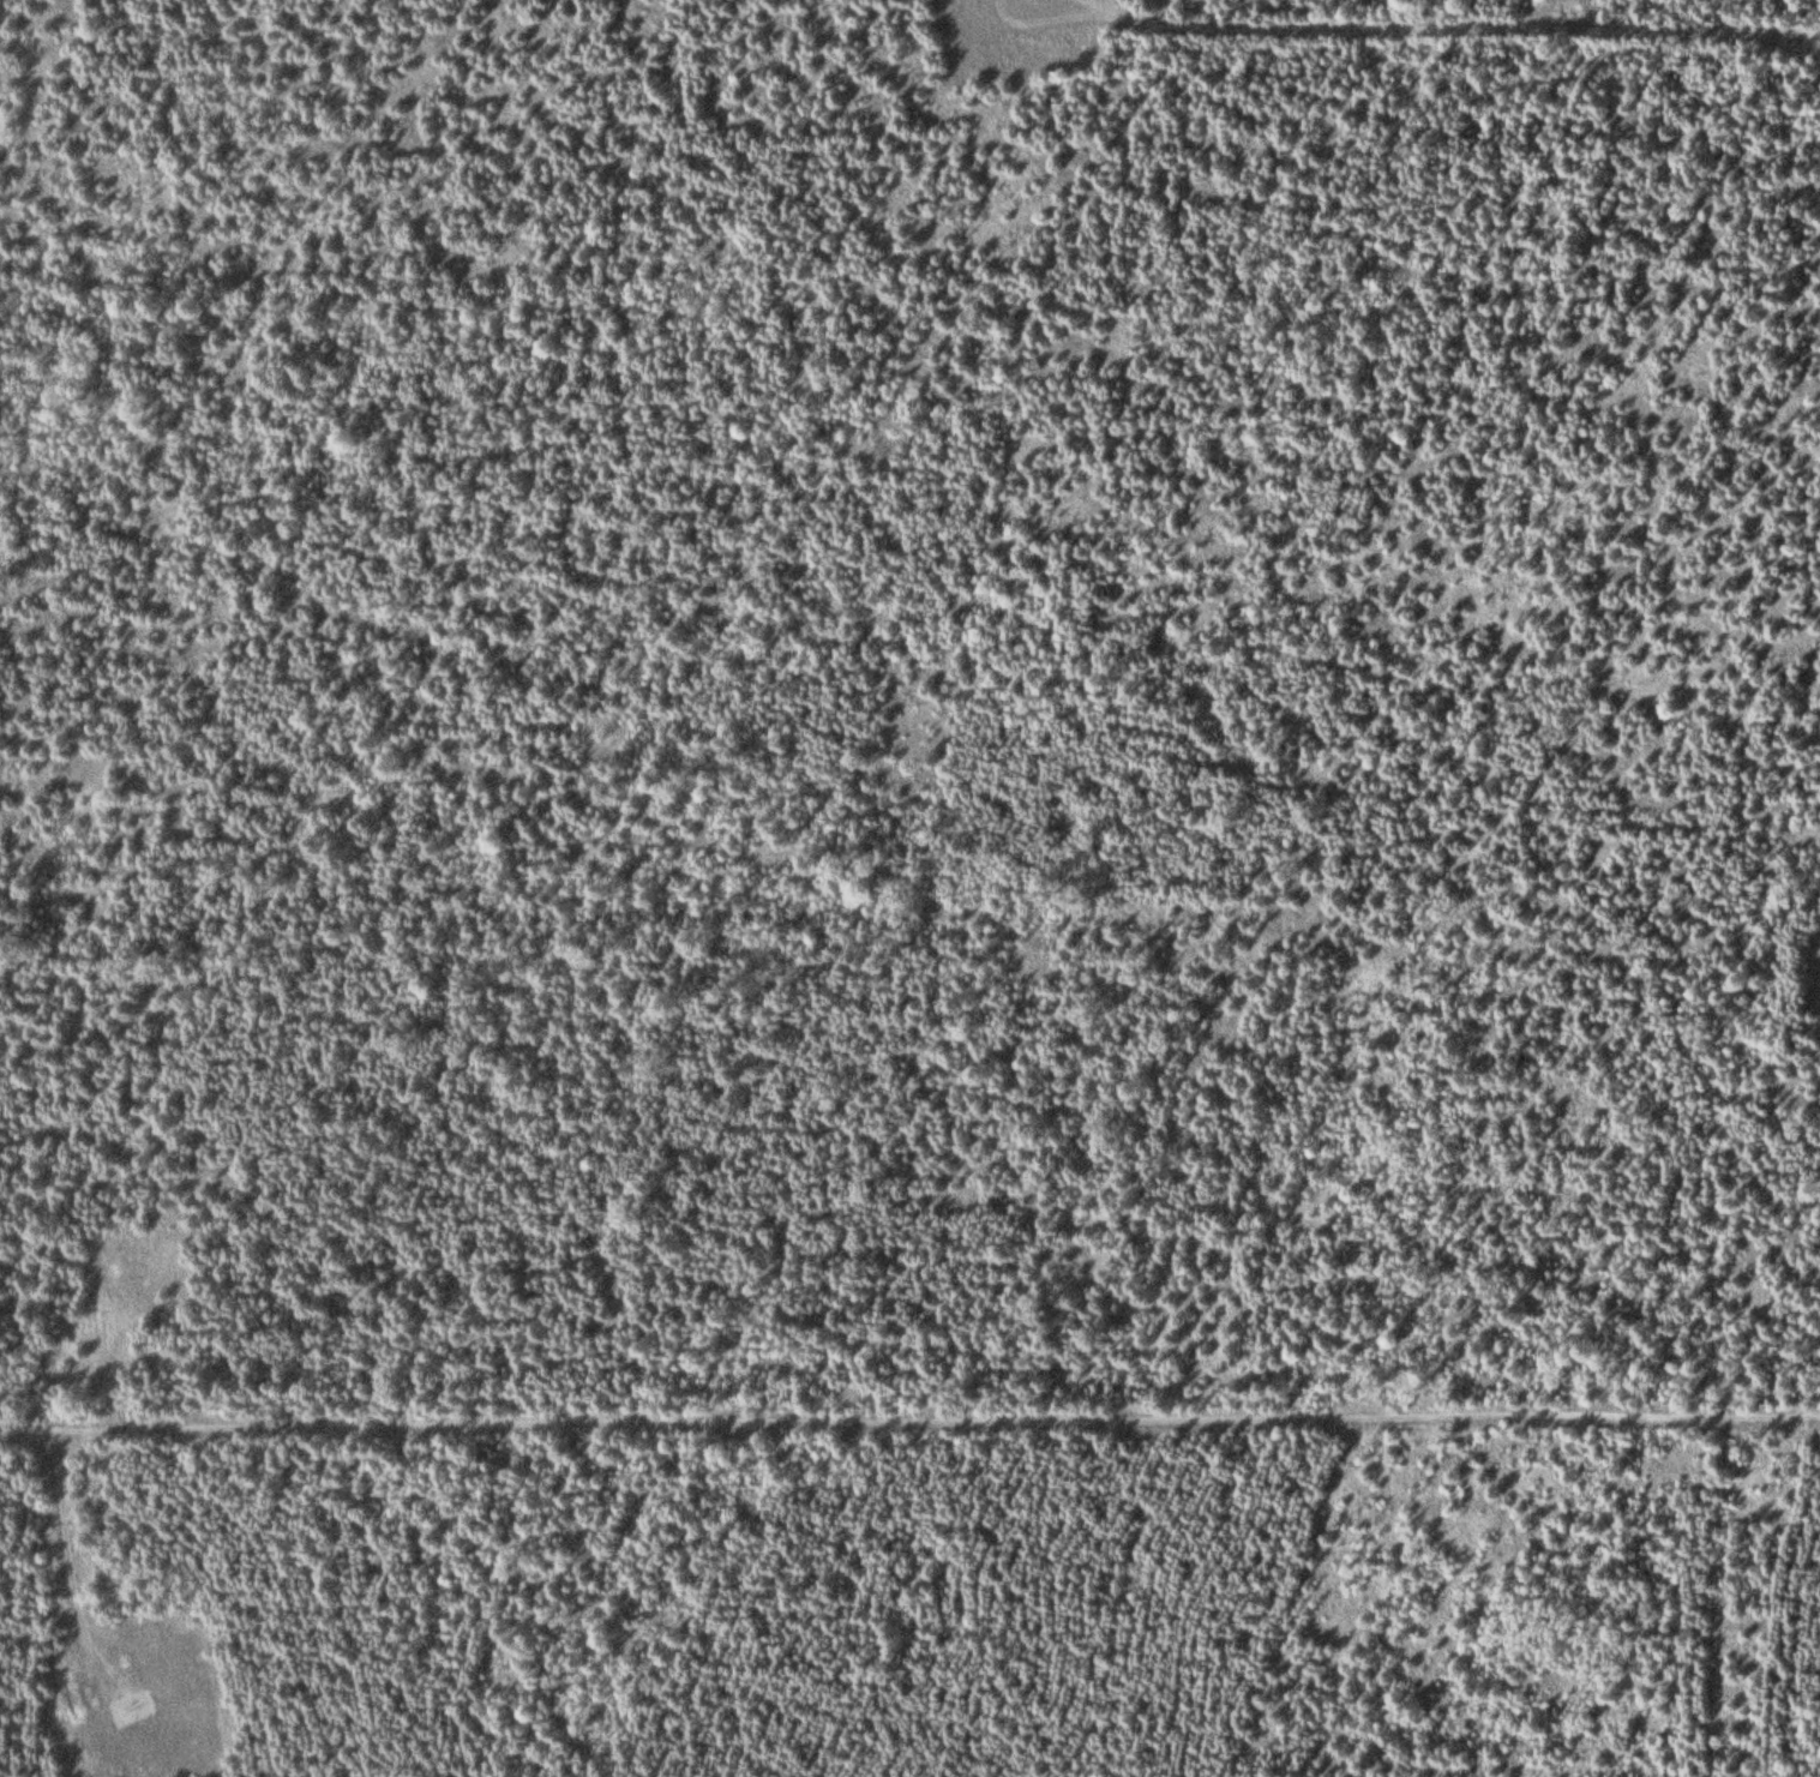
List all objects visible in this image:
road: (10, 25)
road: (1460, 31)
road: (31, 1431)
road: (942, 1431)

